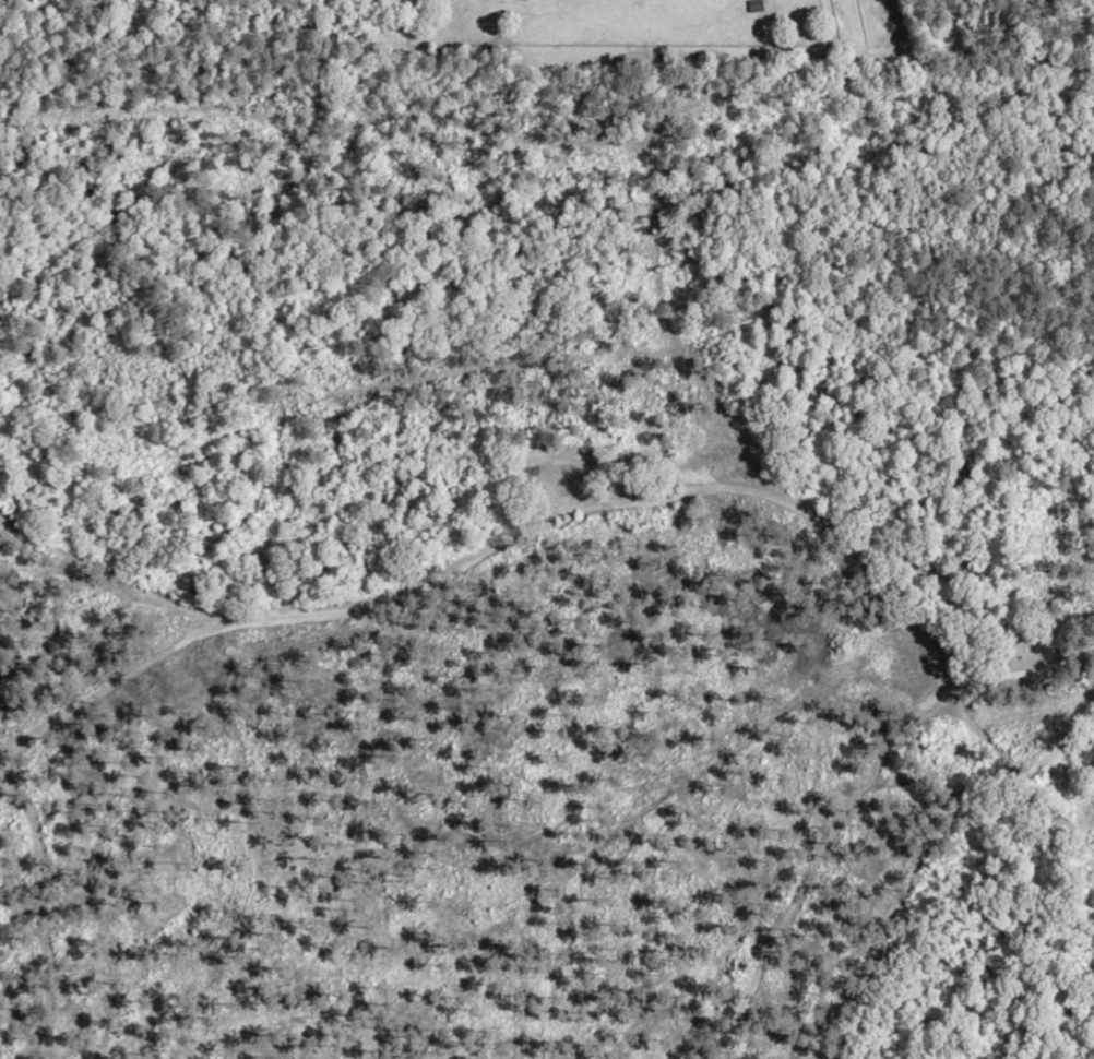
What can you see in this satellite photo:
building: (757, 5)

